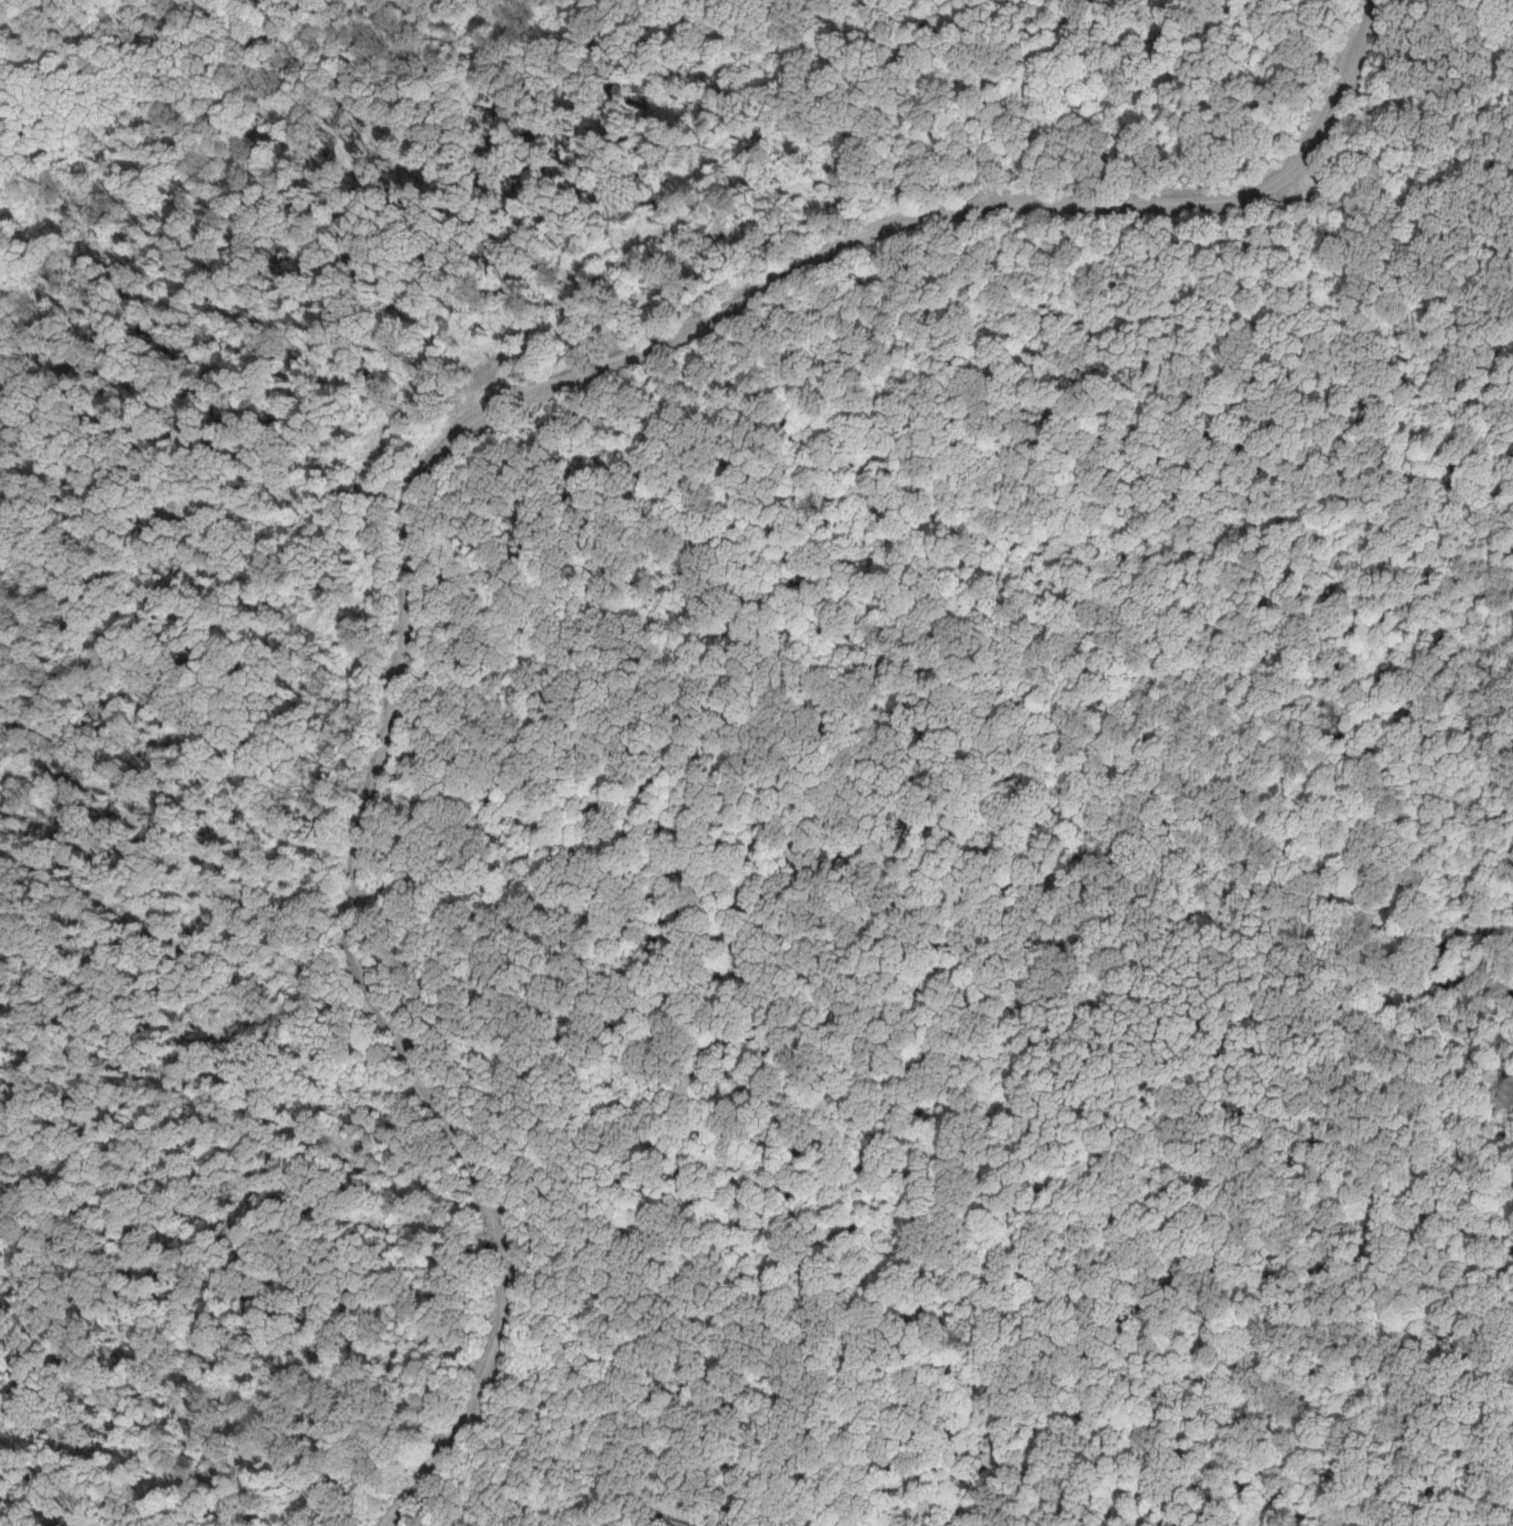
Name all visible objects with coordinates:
road: (426, 473)

